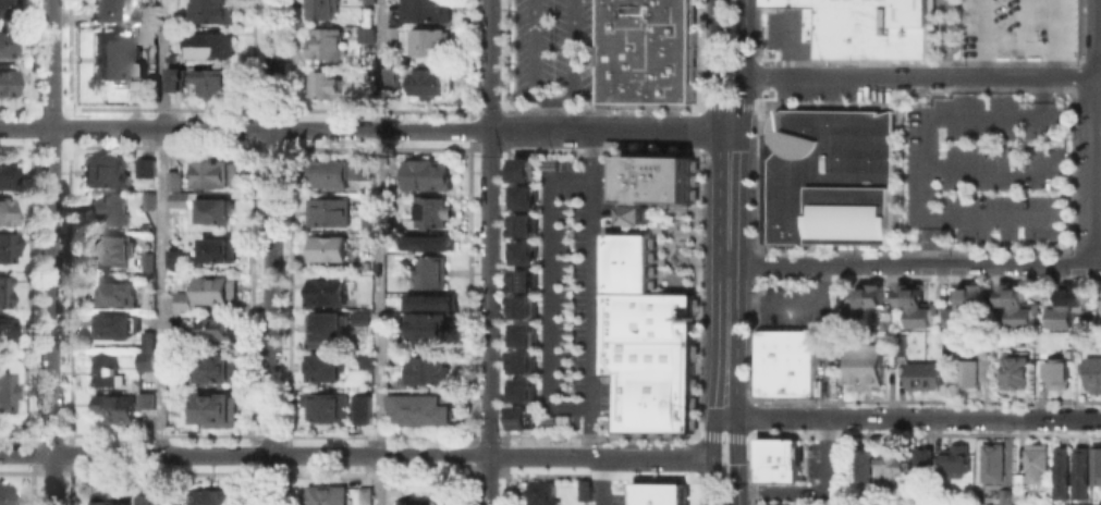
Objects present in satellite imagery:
building: (366, 1)
building: (774, 2)
building: (8, 7)
building: (317, 9)
building: (106, 10)
building: (423, 10)
building: (211, 11)
building: (866, 26)
building: (1017, 28)
parking lot: (1017, 28)
building: (144, 30)
building: (362, 34)
building: (389, 35)
road: (942, 38)
road: (981, 38)
road: (1054, 38)
road: (1016, 39)
building: (420, 40)
building: (7, 44)
building: (207, 44)
building: (321, 44)
parking lot: (549, 50)
building: (647, 50)
building: (113, 58)
road: (597, 65)
road: (715, 66)
road: (743, 66)
building: (390, 74)
building: (173, 76)
road: (921, 76)
building: (8, 82)
building: (209, 83)
building: (429, 83)
building: (321, 85)
building: (131, 86)
road: (551, 99)
road: (928, 114)
road: (551, 115)
road: (364, 128)
road: (1094, 141)
building: (681, 162)
building: (522, 165)
building: (144, 167)
building: (360, 167)
parking lot: (986, 167)
building: (102, 171)
building: (5, 173)
building: (215, 173)
building: (327, 173)
building: (426, 173)
building: (615, 176)
building: (825, 176)
building: (681, 177)
building: (644, 184)
building: (522, 194)
building: (681, 194)
building: (146, 199)
building: (195, 200)
building: (107, 208)
building: (326, 211)
building: (430, 211)
building: (5, 212)
building: (521, 221)
building: (365, 223)
road: (658, 227)
building: (429, 238)
building: (5, 247)
building: (325, 247)
building: (627, 247)
building: (522, 248)
building: (217, 249)
building: (113, 250)
road: (378, 251)
road: (52, 253)
road: (160, 253)
road: (269, 253)
road: (487, 253)
building: (172, 258)
building: (146, 260)
road: (914, 263)
building: (430, 268)
building: (626, 269)
road: (726, 274)
building: (521, 276)
building: (626, 283)
building: (213, 288)
building: (4, 290)
building: (328, 291)
road: (547, 292)
building: (111, 293)
road: (589, 293)
building: (430, 297)
building: (147, 299)
building: (183, 299)
building: (1066, 301)
building: (521, 304)
road: (792, 304)
building: (860, 304)
building: (912, 304)
building: (1014, 304)
building: (962, 305)
building: (358, 316)
building: (656, 316)
building: (112, 325)
building: (216, 325)
building: (8, 329)
building: (322, 329)
building: (423, 329)
building: (521, 332)
building: (609, 332)
building: (1076, 337)
building: (175, 338)
building: (146, 340)
building: (364, 358)
building: (522, 358)
building: (143, 359)
building: (784, 361)
building: (863, 365)
building: (321, 366)
building: (655, 367)
building: (216, 368)
building: (1014, 369)
building: (103, 370)
building: (425, 370)
building: (968, 372)
building: (1054, 372)
building: (1091, 373)
building: (921, 374)
building: (521, 387)
building: (5, 389)
building: (120, 405)
building: (172, 405)
building: (325, 406)
building: (417, 408)
building: (212, 409)
building: (363, 411)
building: (655, 412)
building: (522, 414)
road: (913, 418)
road: (723, 438)
road: (362, 455)
building: (776, 458)
building: (951, 459)
building: (921, 460)
building: (1033, 460)
building: (864, 461)
building: (990, 461)
building: (888, 464)
building: (1094, 464)
building: (1060, 469)
building: (1080, 469)
road: (710, 479)
road: (737, 479)
road: (595, 480)
building: (539, 492)
road: (817, 492)
building: (5, 493)
building: (653, 493)
building: (326, 494)
building: (363, 495)
building: (208, 496)
building: (1001, 496)
building: (103, 498)
building: (143, 498)
building: (769, 503)
building: (1078, 503)
building: (409, 504)

